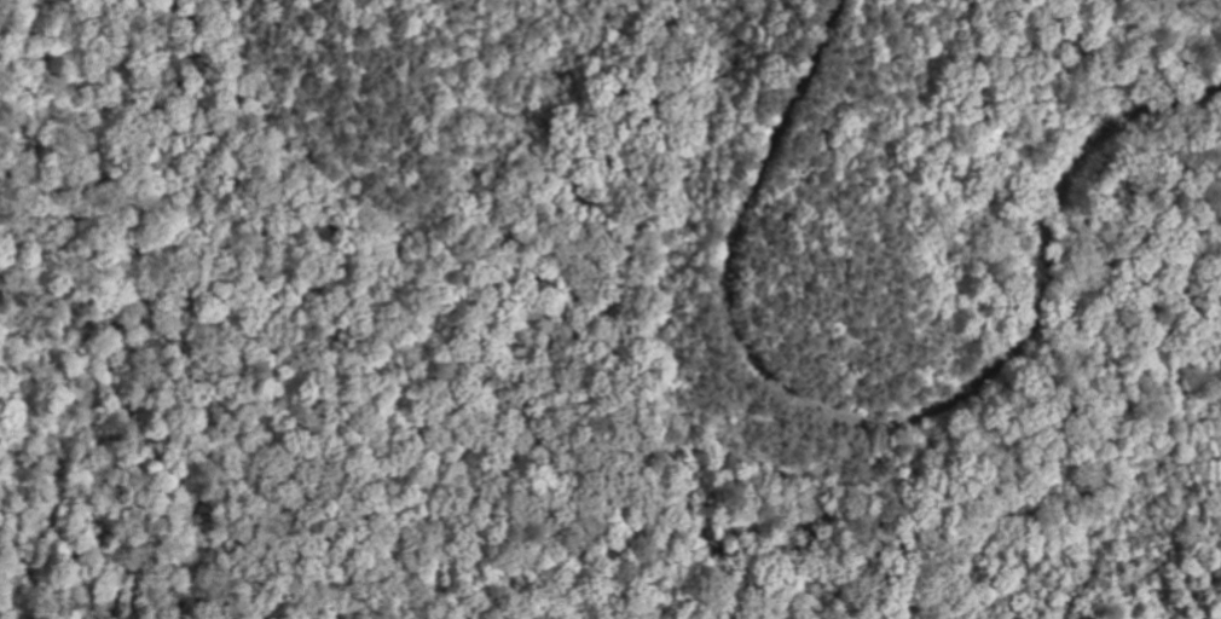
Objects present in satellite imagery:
road: (878, 422)
road: (907, 515)

